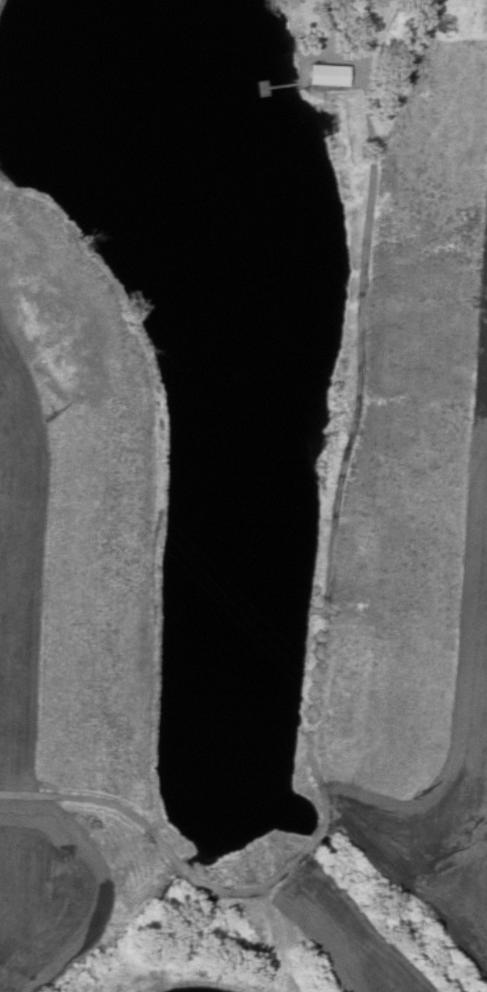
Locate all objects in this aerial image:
building: (327, 74)
power tower: (58, 427)
crop: (418, 501)
power tower: (424, 806)

